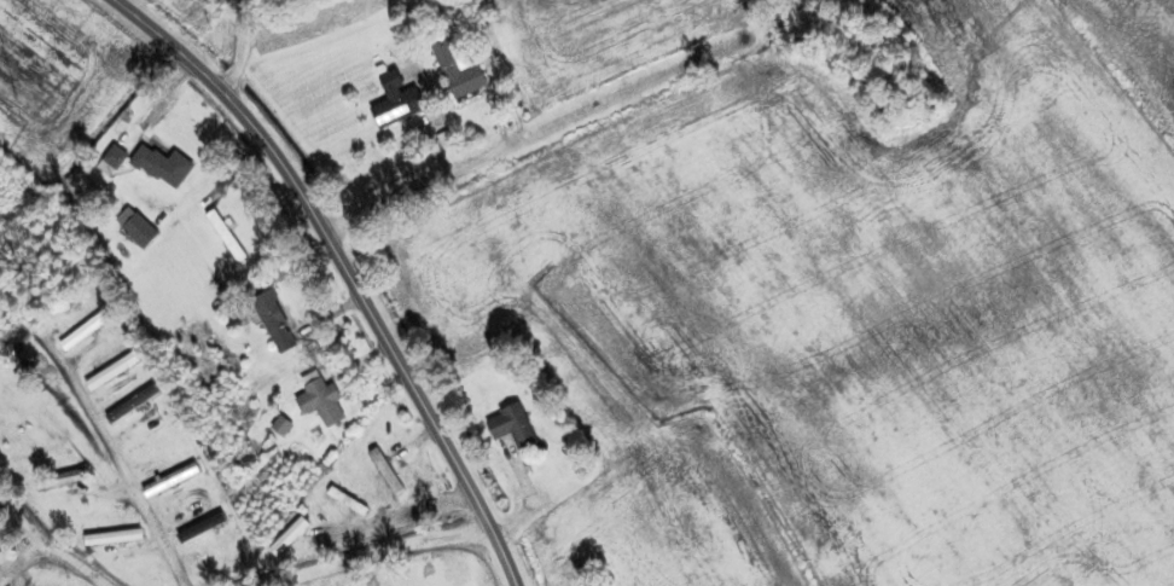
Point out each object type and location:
building: (447, 18)
road: (243, 47)
building: (464, 72)
building: (403, 101)
road: (513, 144)
building: (120, 156)
building: (168, 163)
building: (145, 228)
road: (348, 267)
building: (280, 320)
building: (87, 330)
building: (327, 401)
building: (518, 424)
road: (123, 468)
building: (390, 470)
building: (64, 478)
building: (351, 500)
road: (408, 514)
building: (1, 520)
road: (41, 529)
road: (373, 552)
road: (74, 574)

